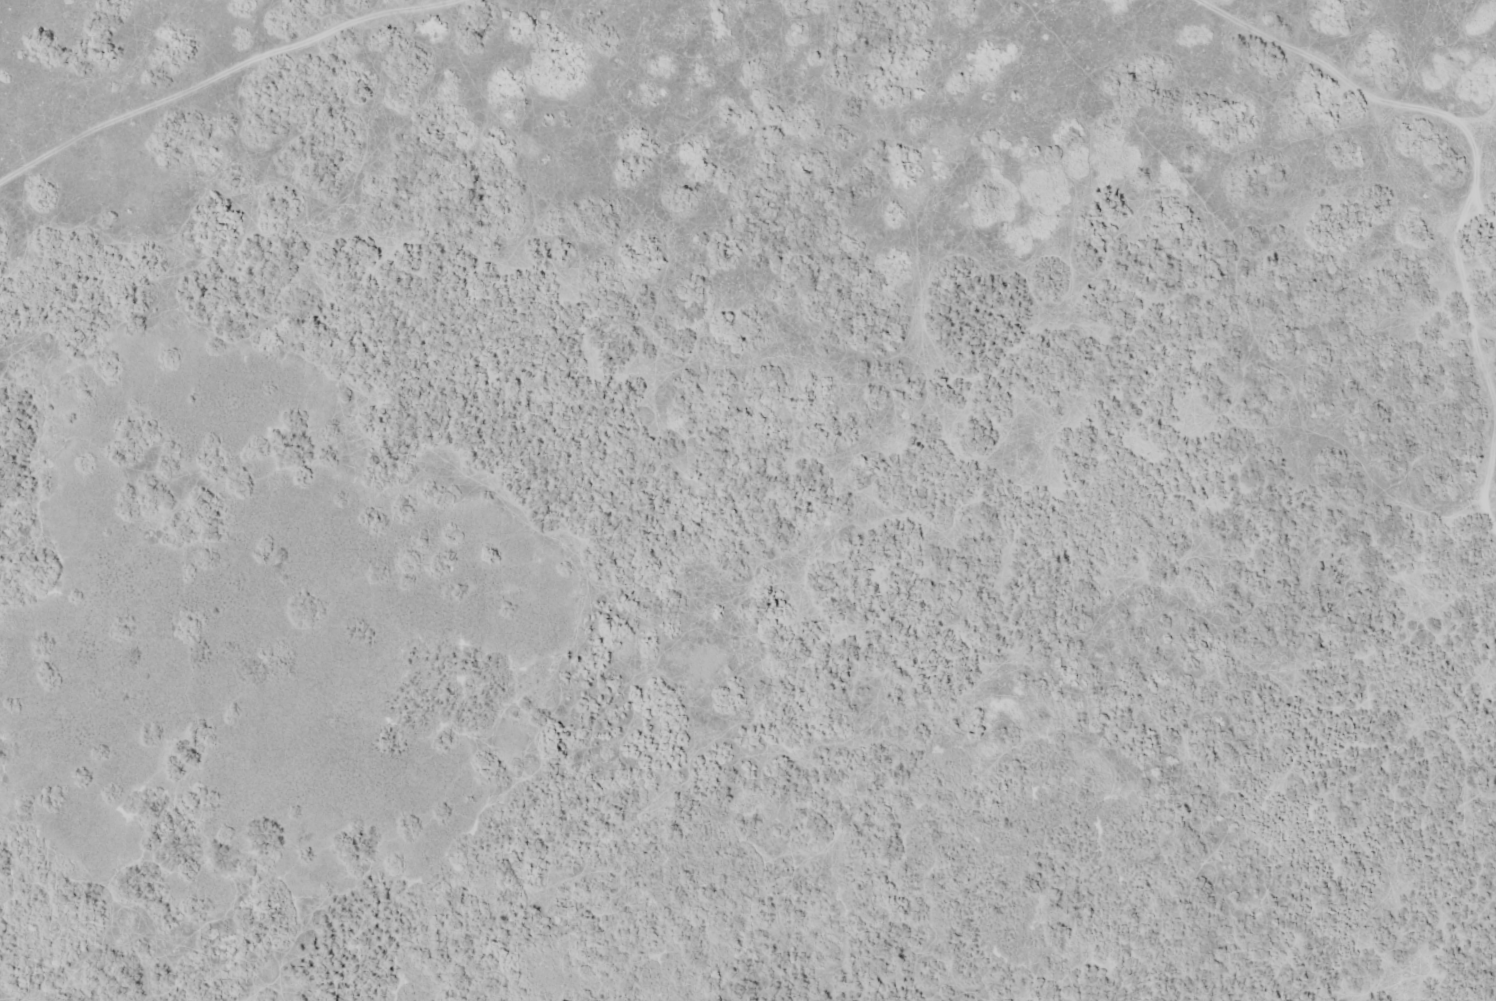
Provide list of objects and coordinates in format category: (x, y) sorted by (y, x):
road: (1327, 62)
road: (241, 71)

